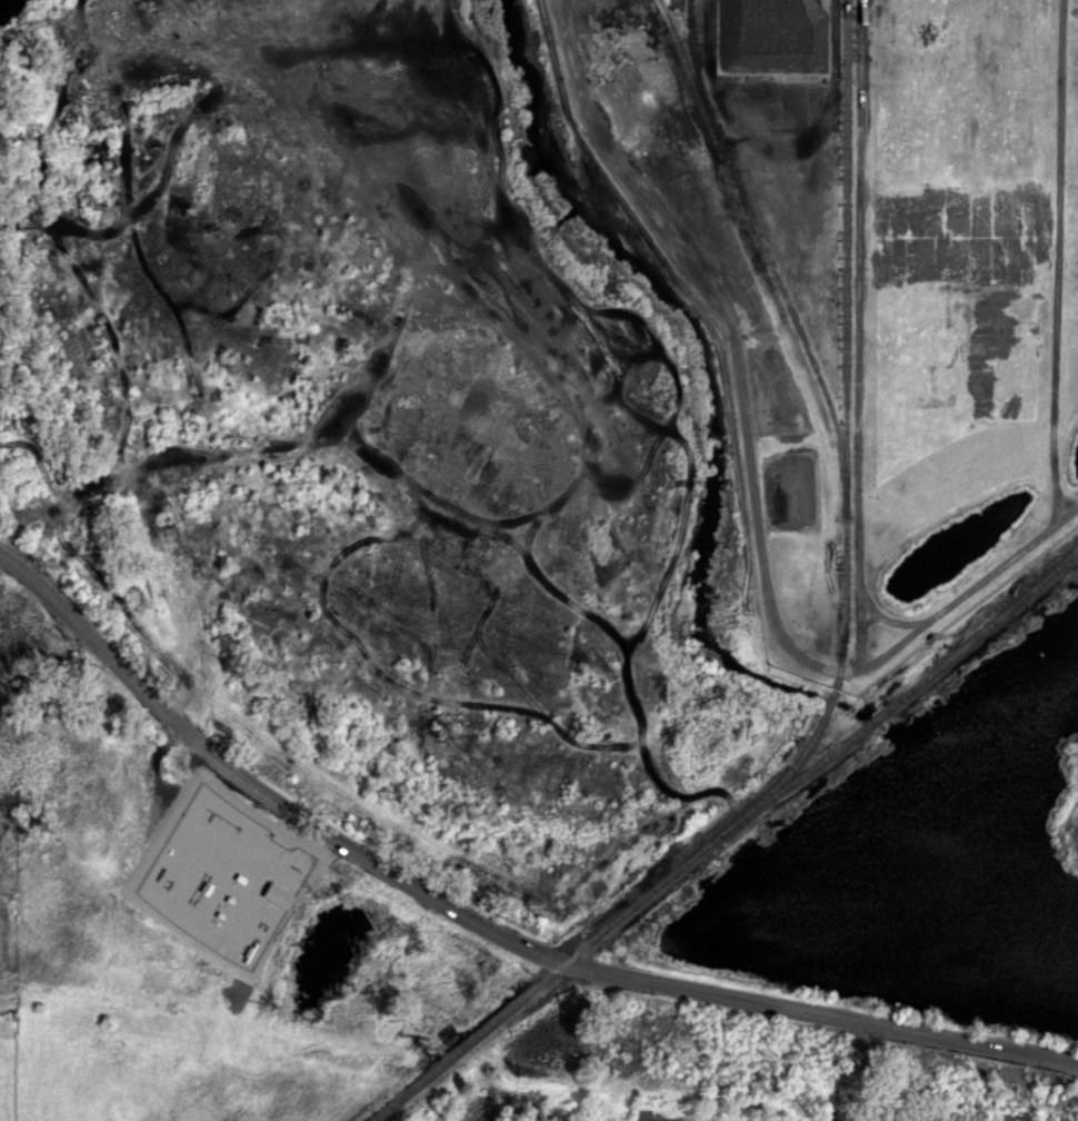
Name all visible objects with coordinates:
railway: (698, 69)
railway: (769, 254)
park: (41, 282)
railway: (848, 440)
railway: (1055, 574)
railway: (723, 834)
building: (277, 895)
road: (482, 926)
road: (650, 1119)
road: (661, 1119)

